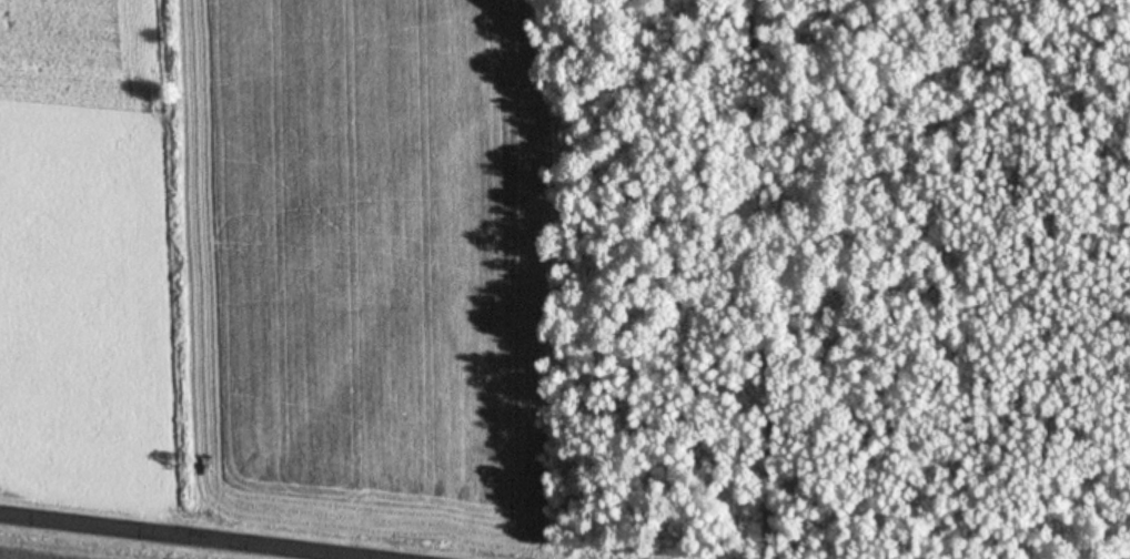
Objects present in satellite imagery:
road: (234, 531)

